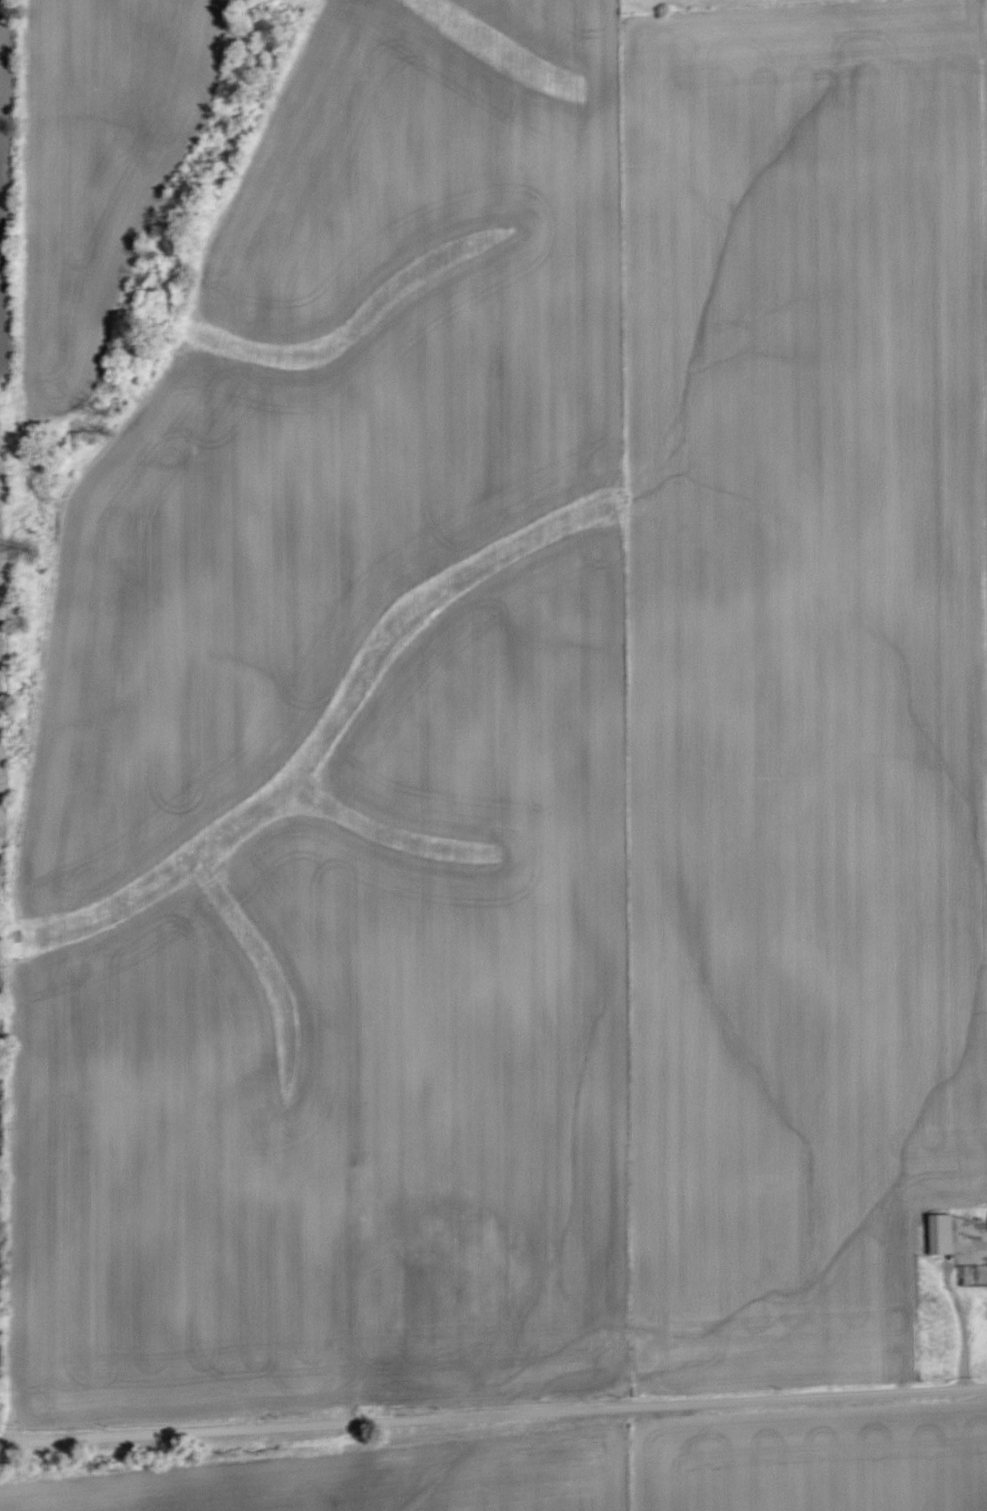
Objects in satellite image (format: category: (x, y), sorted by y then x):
road: (983, 190)
road: (986, 457)
road: (986, 613)
building: (940, 1233)
road: (963, 1323)
road: (976, 1347)
road: (977, 1361)
road: (493, 1414)

